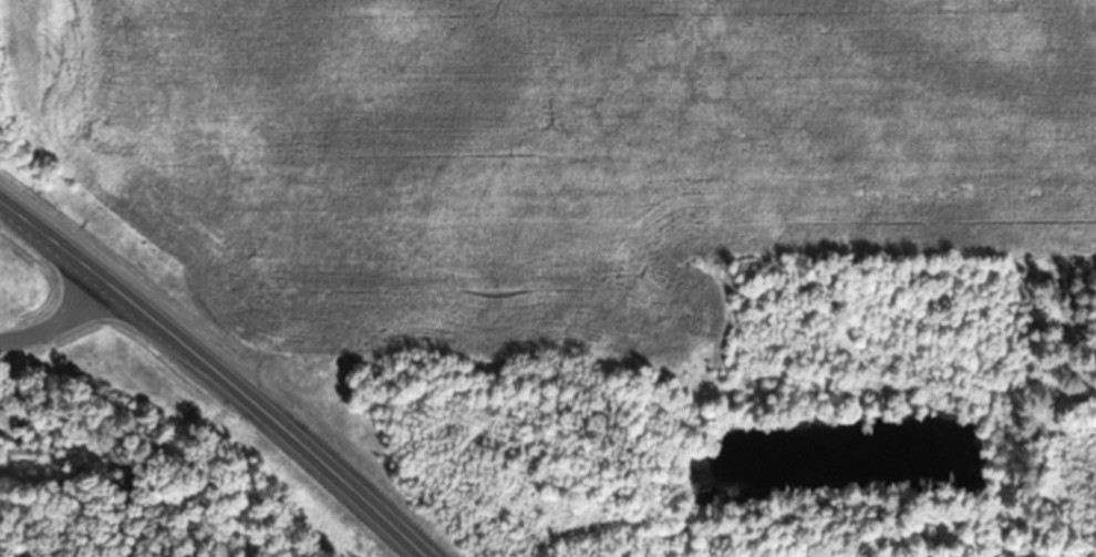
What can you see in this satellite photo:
road: (60, 322)
road: (217, 369)

